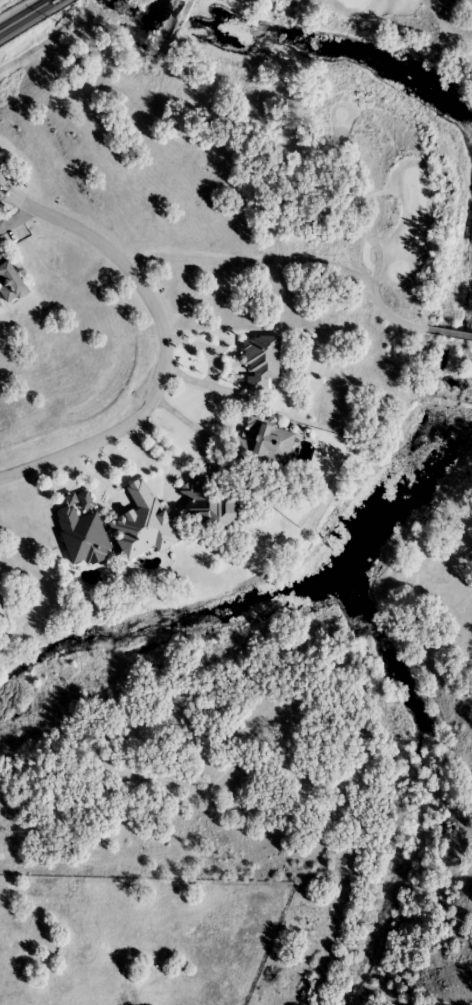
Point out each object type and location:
road: (26, 15)
park: (392, 192)
park: (393, 192)
road: (13, 214)
building: (10, 279)
building: (0, 306)
road: (163, 340)
building: (261, 363)
building: (268, 444)
building: (211, 500)
building: (143, 525)
building: (82, 531)

